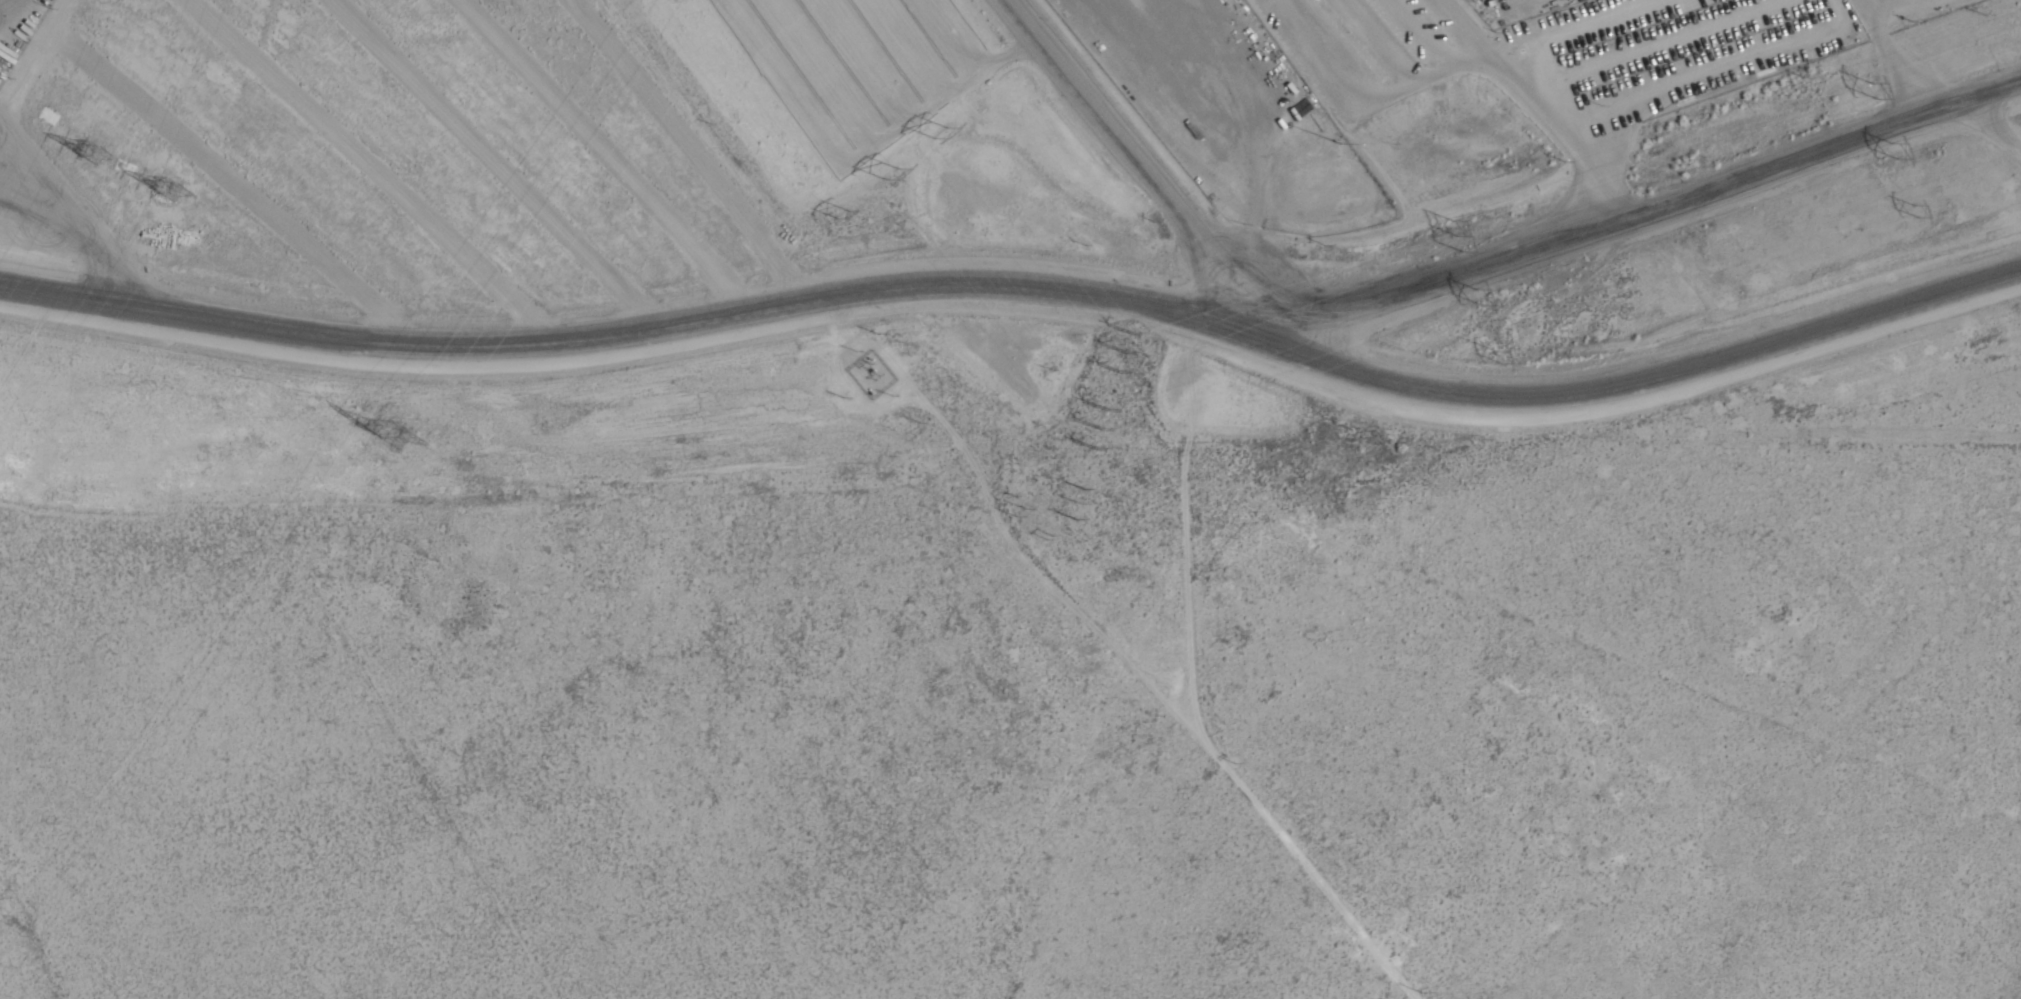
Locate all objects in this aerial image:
power tower: (1880, 90)
power plant: (1473, 93)
road: (1100, 108)
road: (1968, 129)
power tower: (943, 131)
power tower: (1901, 148)
power tower: (94, 151)
power tower: (895, 175)
power tower: (171, 187)
power tower: (1918, 207)
power tower: (840, 209)
road: (1612, 225)
power tower: (1457, 232)
power tower: (1478, 292)
power tower: (1126, 348)
power tower: (1505, 349)
power tower: (1101, 425)
power tower: (393, 434)
power tower: (1083, 500)
road: (1192, 642)

